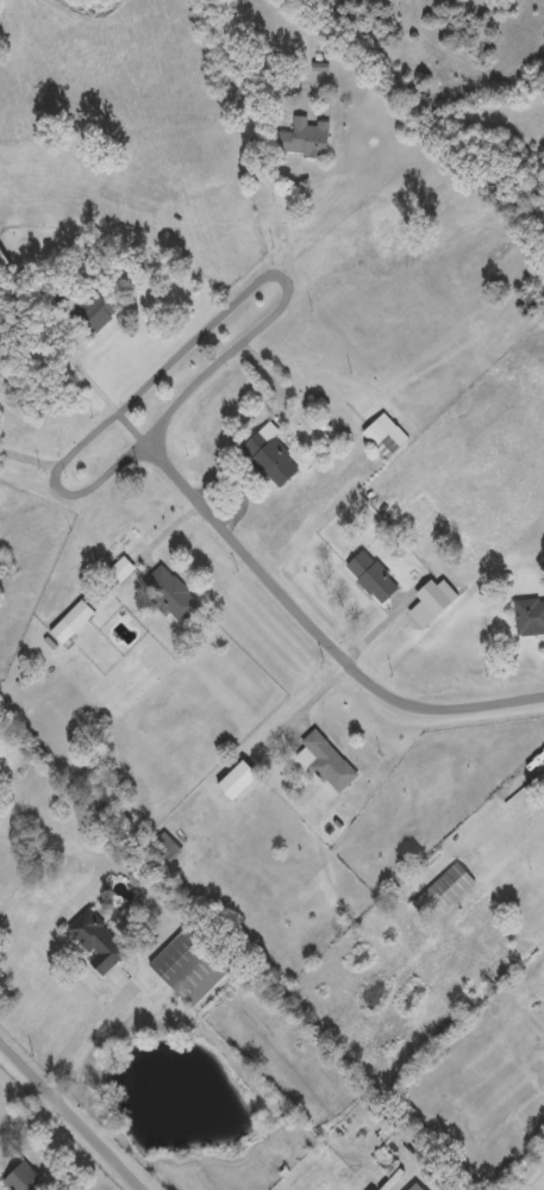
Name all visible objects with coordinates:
building: (302, 138)
road: (283, 199)
building: (530, 295)
building: (93, 301)
road: (202, 326)
road: (69, 338)
building: (386, 434)
road: (29, 454)
building: (269, 454)
road: (27, 472)
building: (373, 575)
building: (171, 592)
building: (529, 616)
building: (73, 621)
road: (320, 622)
building: (326, 760)
building: (543, 771)
building: (167, 845)
building: (448, 883)
building: (96, 939)
building: (188, 964)
road: (96, 1022)
road: (76, 1111)
road: (29, 1121)
building: (24, 1178)
building: (415, 1186)

